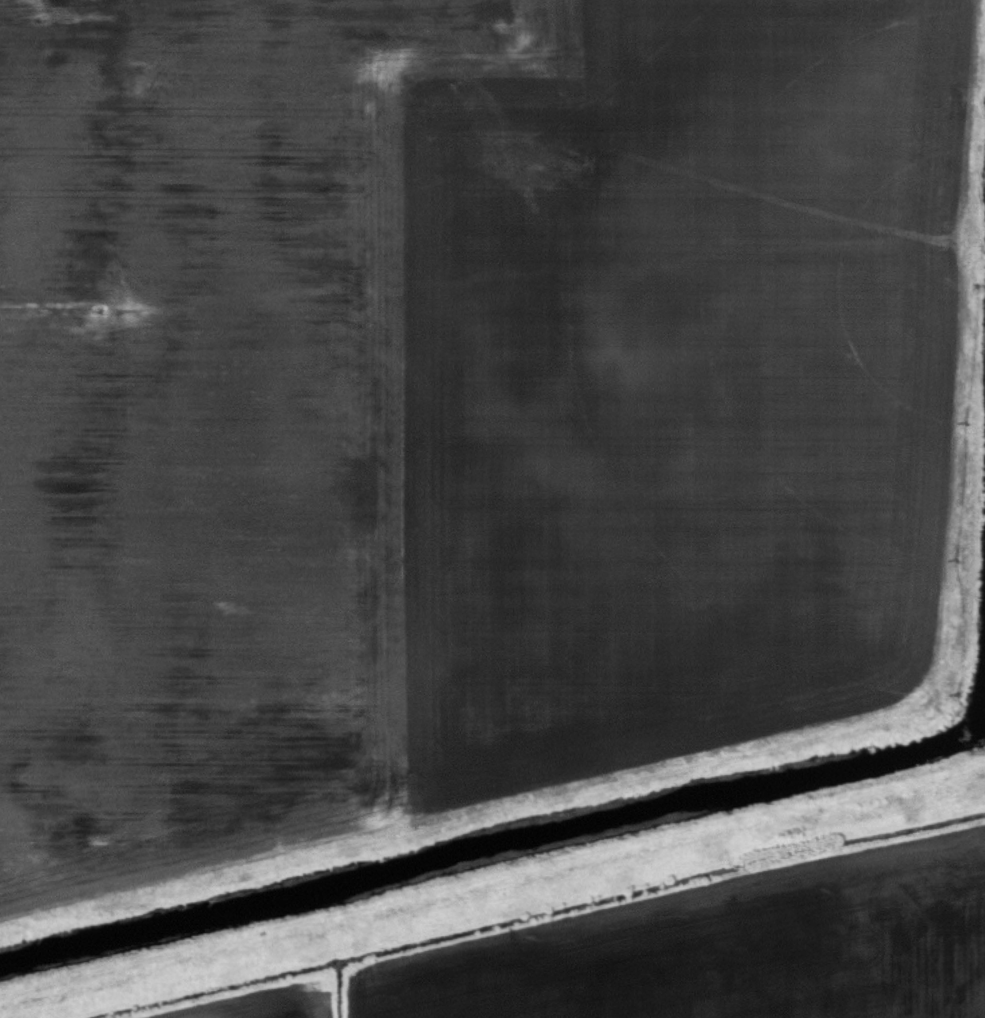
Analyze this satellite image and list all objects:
river: (489, 836)

